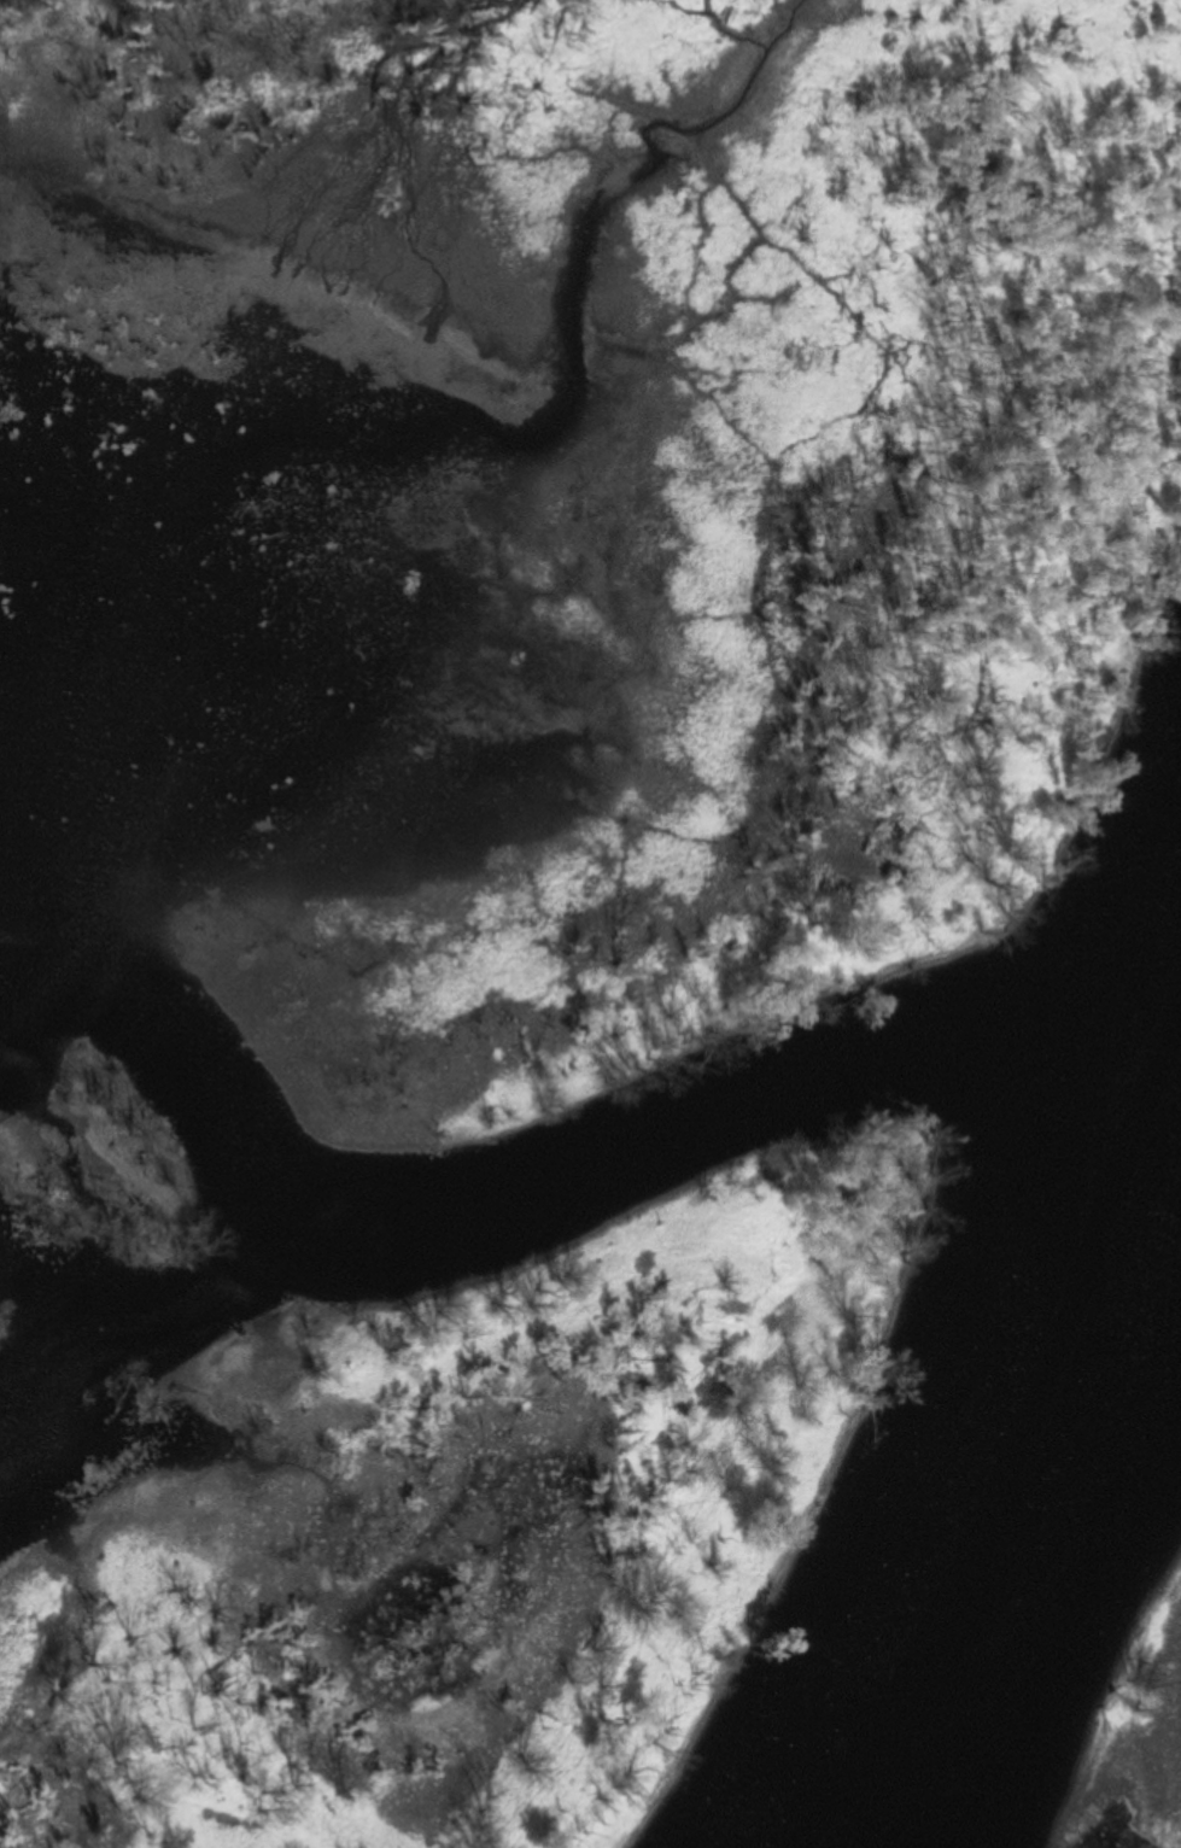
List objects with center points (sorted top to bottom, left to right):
river: (1019, 1527)

